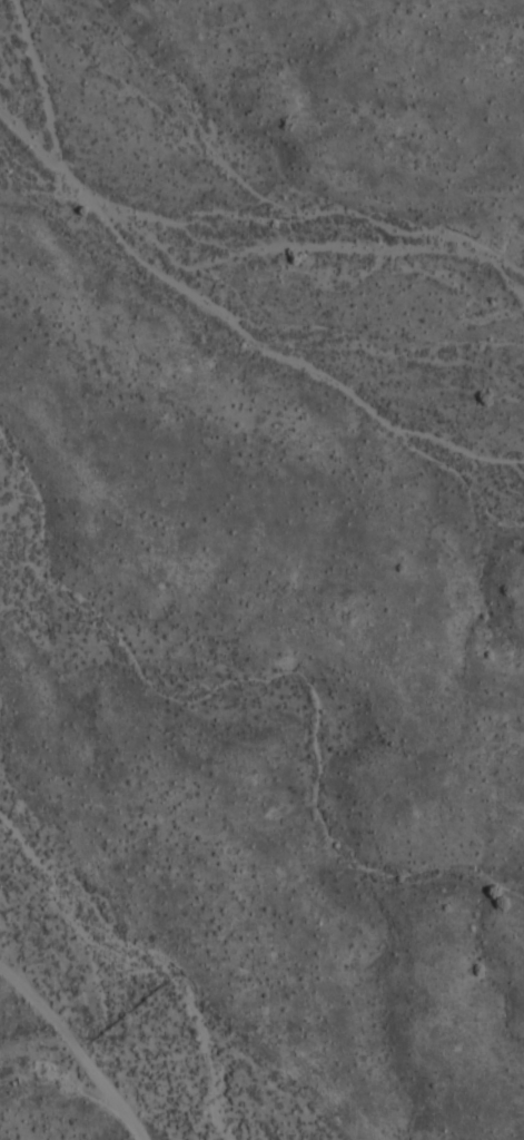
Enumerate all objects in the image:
road: (76, 1059)

